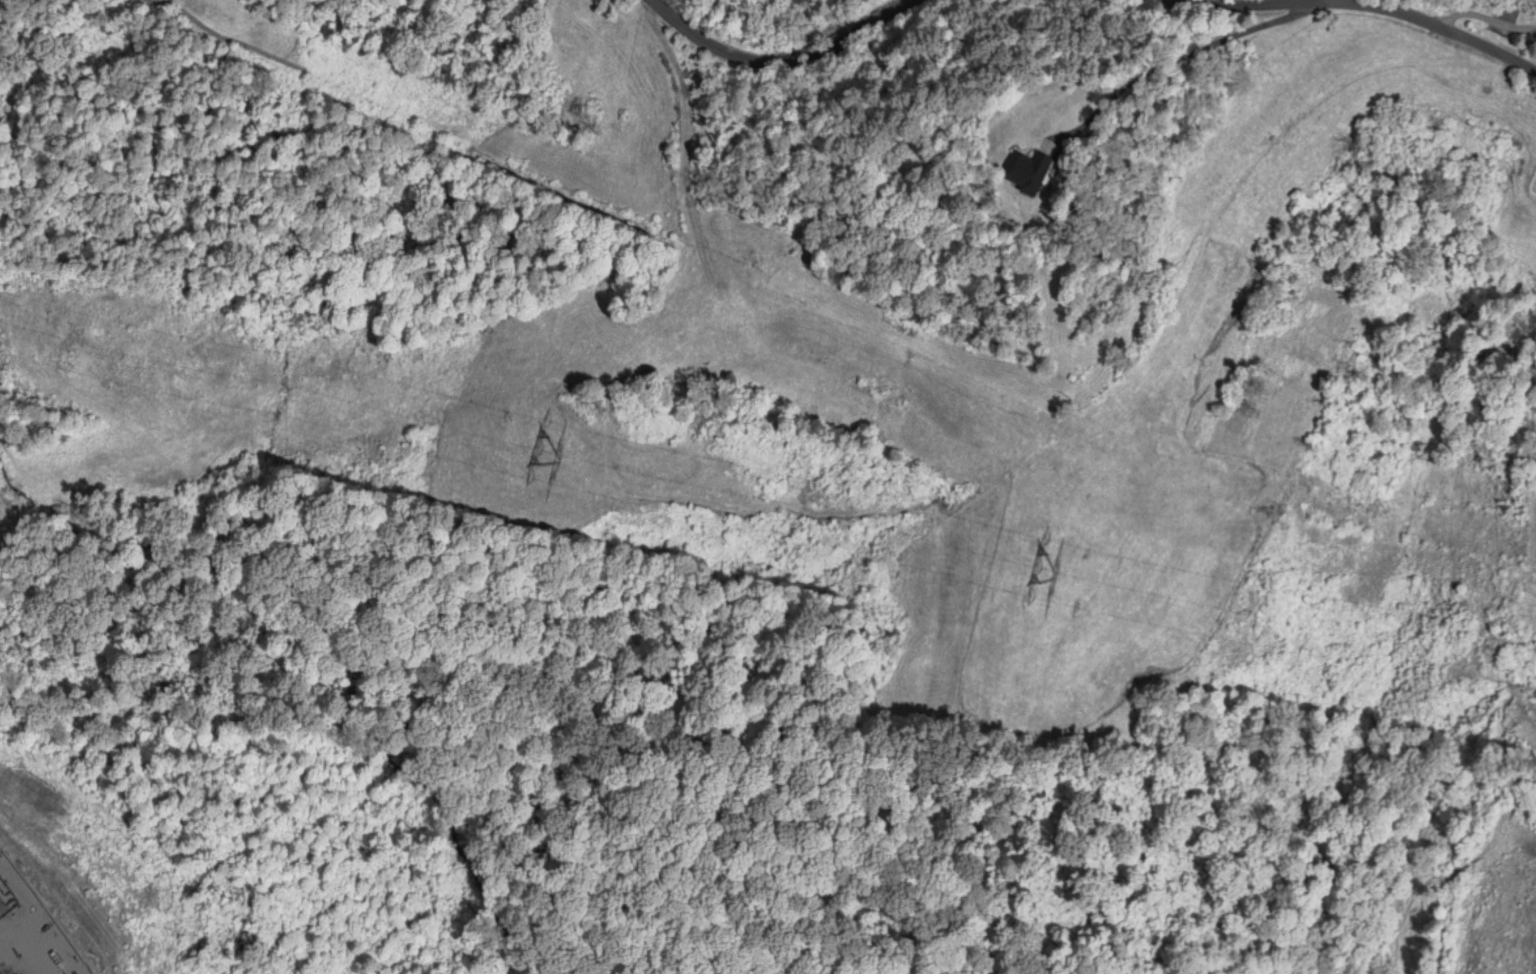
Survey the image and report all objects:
road: (1246, 3)
building: (1506, 11)
road: (1451, 32)
road: (773, 57)
road: (1183, 59)
building: (1022, 173)
power tower: (556, 462)
power tower: (1055, 579)

